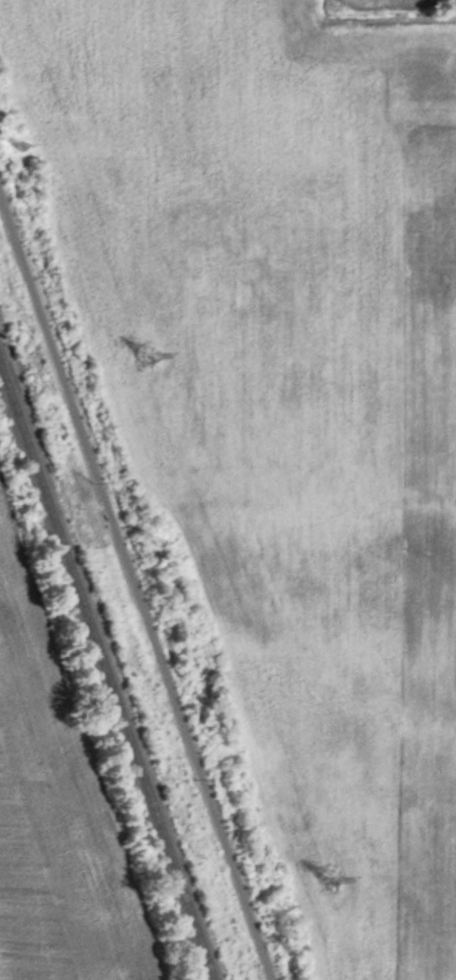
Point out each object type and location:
power tower: (148, 353)
road: (134, 592)
railway: (106, 673)
power tower: (330, 880)

